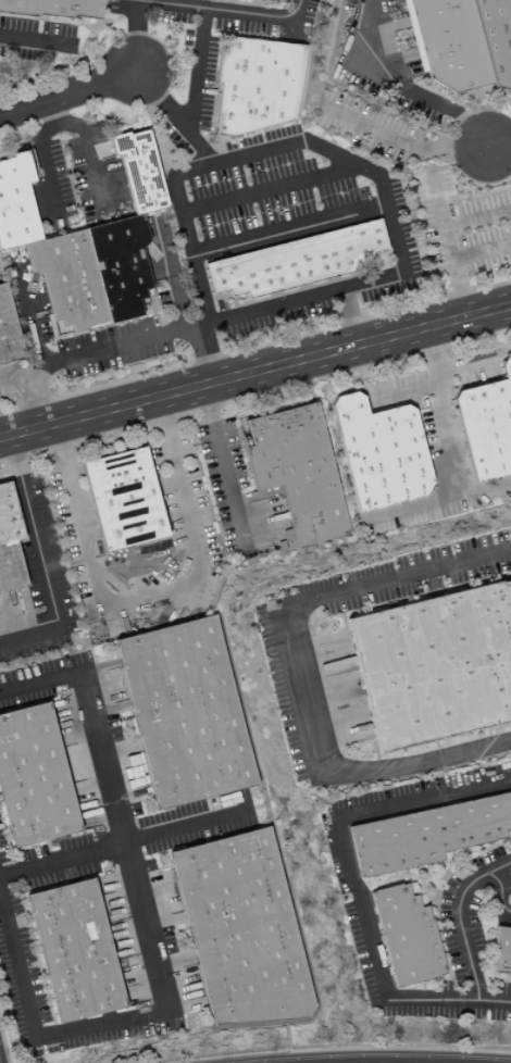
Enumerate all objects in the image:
building: (275, 1)
road: (174, 4)
building: (53, 9)
road: (204, 16)
road: (130, 35)
building: (496, 38)
road: (30, 42)
building: (448, 43)
building: (257, 85)
road: (396, 86)
road: (66, 93)
road: (366, 100)
road: (171, 118)
road: (499, 143)
road: (401, 145)
road: (278, 148)
road: (88, 154)
road: (42, 155)
building: (140, 172)
road: (264, 187)
building: (16, 203)
road: (477, 222)
road: (285, 228)
road: (448, 247)
road: (482, 253)
building: (298, 262)
building: (121, 265)
building: (68, 280)
building: (8, 330)
road: (148, 337)
road: (462, 366)
road: (254, 371)
road: (16, 377)
road: (406, 389)
road: (36, 392)
building: (486, 425)
road: (448, 436)
building: (381, 453)
road: (222, 464)
building: (297, 472)
building: (124, 500)
road: (413, 509)
building: (10, 543)
road: (42, 560)
road: (151, 605)
building: (435, 666)
road: (298, 671)
building: (186, 713)
building: (34, 778)
road: (107, 783)
road: (188, 827)
building: (427, 835)
road: (352, 886)
road: (499, 888)
road: (508, 915)
road: (459, 923)
building: (242, 930)
building: (406, 937)
building: (501, 951)
building: (76, 952)
road: (115, 1022)

